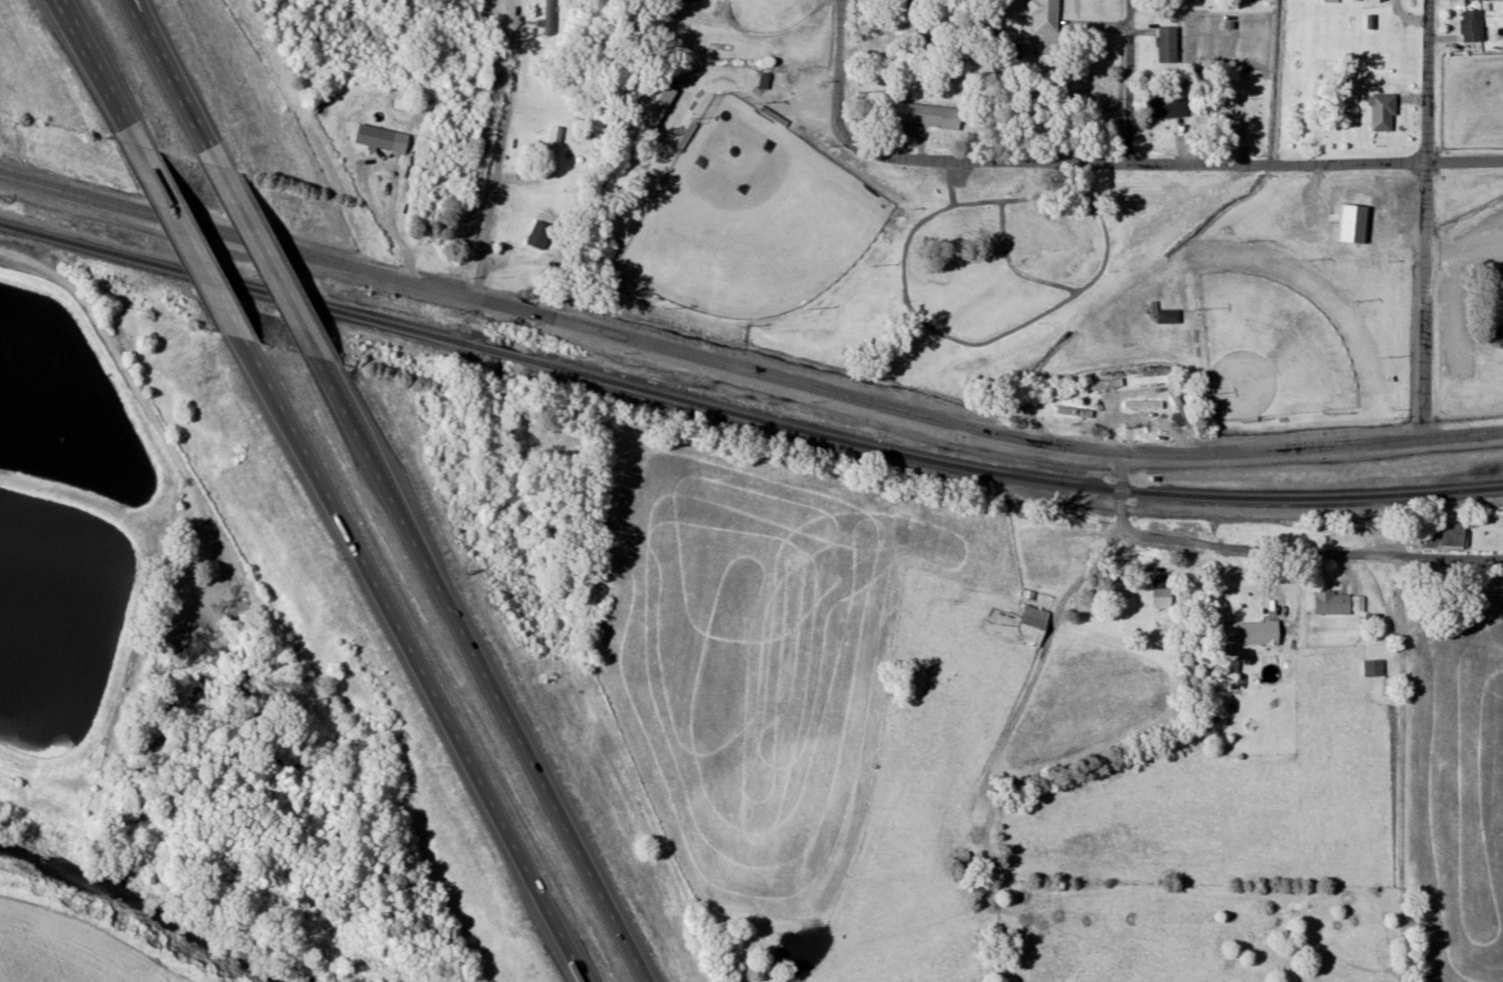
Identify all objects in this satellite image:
building: (695, 0)
building: (1333, 1)
building: (900, 15)
building: (1045, 15)
building: (550, 17)
building: (1473, 26)
road: (156, 32)
building: (1169, 44)
road: (172, 72)
road: (98, 74)
road: (1128, 81)
building: (1169, 108)
building: (1383, 112)
building: (1227, 113)
building: (926, 114)
building: (369, 129)
building: (554, 150)
road: (497, 154)
road: (1064, 159)
road: (1466, 160)
building: (1383, 216)
park: (751, 219)
road: (1428, 219)
building: (540, 234)
building: (1345, 258)
building: (1191, 303)
road: (297, 314)
building: (1169, 315)
road: (229, 325)
building: (1497, 331)
park: (1281, 335)
road: (744, 368)
building: (1151, 379)
building: (1108, 383)
building: (1018, 404)
building: (1144, 404)
building: (1180, 410)
building: (1075, 411)
railway: (743, 414)
building: (1350, 533)
building: (1439, 536)
road: (1273, 548)
building: (1163, 594)
building: (1339, 603)
building: (1034, 626)
building: (1260, 633)
building: (1374, 668)
road: (521, 730)
road: (451, 742)
building: (964, 856)

